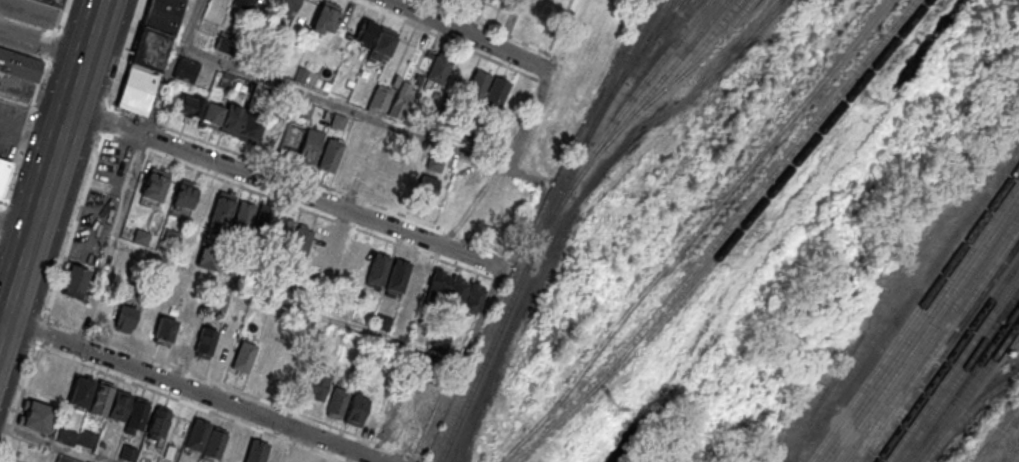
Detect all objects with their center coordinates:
building: (479, 0)
building: (50, 3)
building: (243, 4)
building: (288, 4)
parking lot: (30, 11)
road: (59, 16)
railway: (668, 18)
building: (324, 20)
road: (464, 26)
railway: (646, 39)
railway: (720, 39)
building: (375, 41)
road: (42, 44)
building: (148, 54)
railway: (694, 56)
road: (36, 57)
building: (19, 64)
railway: (629, 66)
building: (438, 68)
building: (185, 69)
railway: (666, 74)
building: (477, 84)
parking lot: (16, 87)
railway: (638, 91)
building: (496, 92)
building: (379, 99)
building: (400, 100)
power tower: (865, 100)
building: (200, 110)
railway: (630, 119)
building: (238, 121)
road: (382, 121)
parking lot: (10, 125)
road: (29, 132)
building: (269, 138)
building: (290, 138)
building: (309, 145)
building: (330, 154)
building: (434, 164)
road: (52, 165)
building: (3, 174)
building: (154, 185)
building: (416, 185)
road: (286, 189)
building: (183, 197)
railway: (753, 198)
parking lot: (101, 202)
building: (221, 210)
building: (243, 215)
building: (263, 221)
road: (15, 228)
railway: (543, 228)
road: (72, 230)
building: (283, 231)
railway: (731, 239)
building: (301, 240)
building: (339, 249)
building: (360, 254)
building: (204, 262)
building: (377, 270)
railway: (997, 273)
building: (397, 277)
building: (418, 278)
building: (74, 280)
building: (438, 284)
building: (465, 294)
railway: (915, 314)
building: (123, 318)
building: (382, 321)
railway: (921, 322)
road: (0, 326)
railway: (925, 329)
building: (163, 330)
railway: (931, 337)
building: (204, 342)
building: (440, 342)
railway: (937, 345)
building: (224, 350)
building: (242, 356)
building: (261, 359)
railway: (948, 361)
road: (459, 365)
railway: (953, 369)
building: (292, 370)
railway: (958, 376)
building: (319, 382)
railway: (964, 384)
road: (227, 386)
road: (192, 391)
building: (79, 392)
railway: (969, 392)
building: (100, 398)
building: (336, 402)
road: (190, 403)
building: (118, 405)
power tower: (611, 405)
building: (356, 410)
building: (135, 415)
building: (35, 416)
building: (157, 423)
building: (176, 429)
building: (197, 434)
building: (66, 436)
building: (86, 438)
building: (213, 444)
building: (127, 453)
building: (255, 453)
building: (297, 457)
building: (65, 459)
road: (991, 461)

